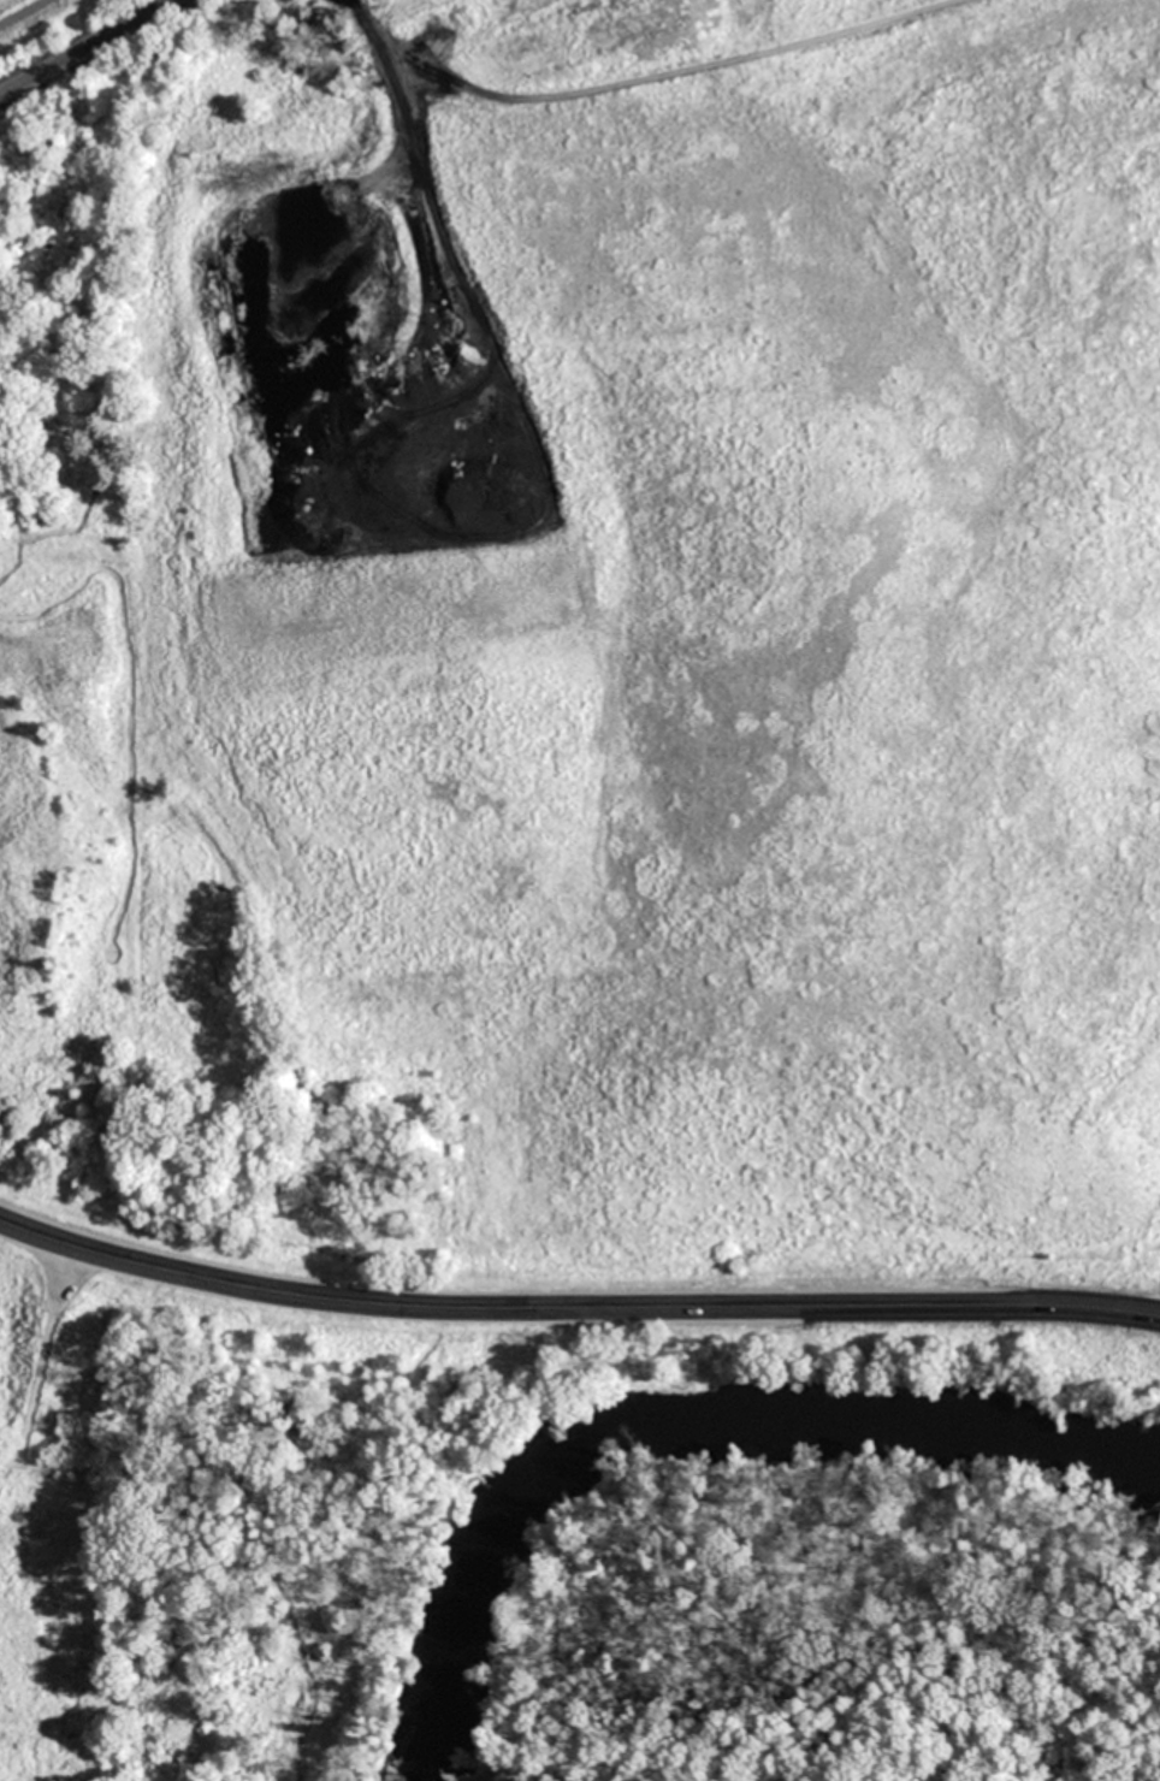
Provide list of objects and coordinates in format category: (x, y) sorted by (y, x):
road: (20, 11)
road: (88, 48)
road: (647, 78)
road: (574, 1308)
river: (686, 1439)
park: (568, 1540)

